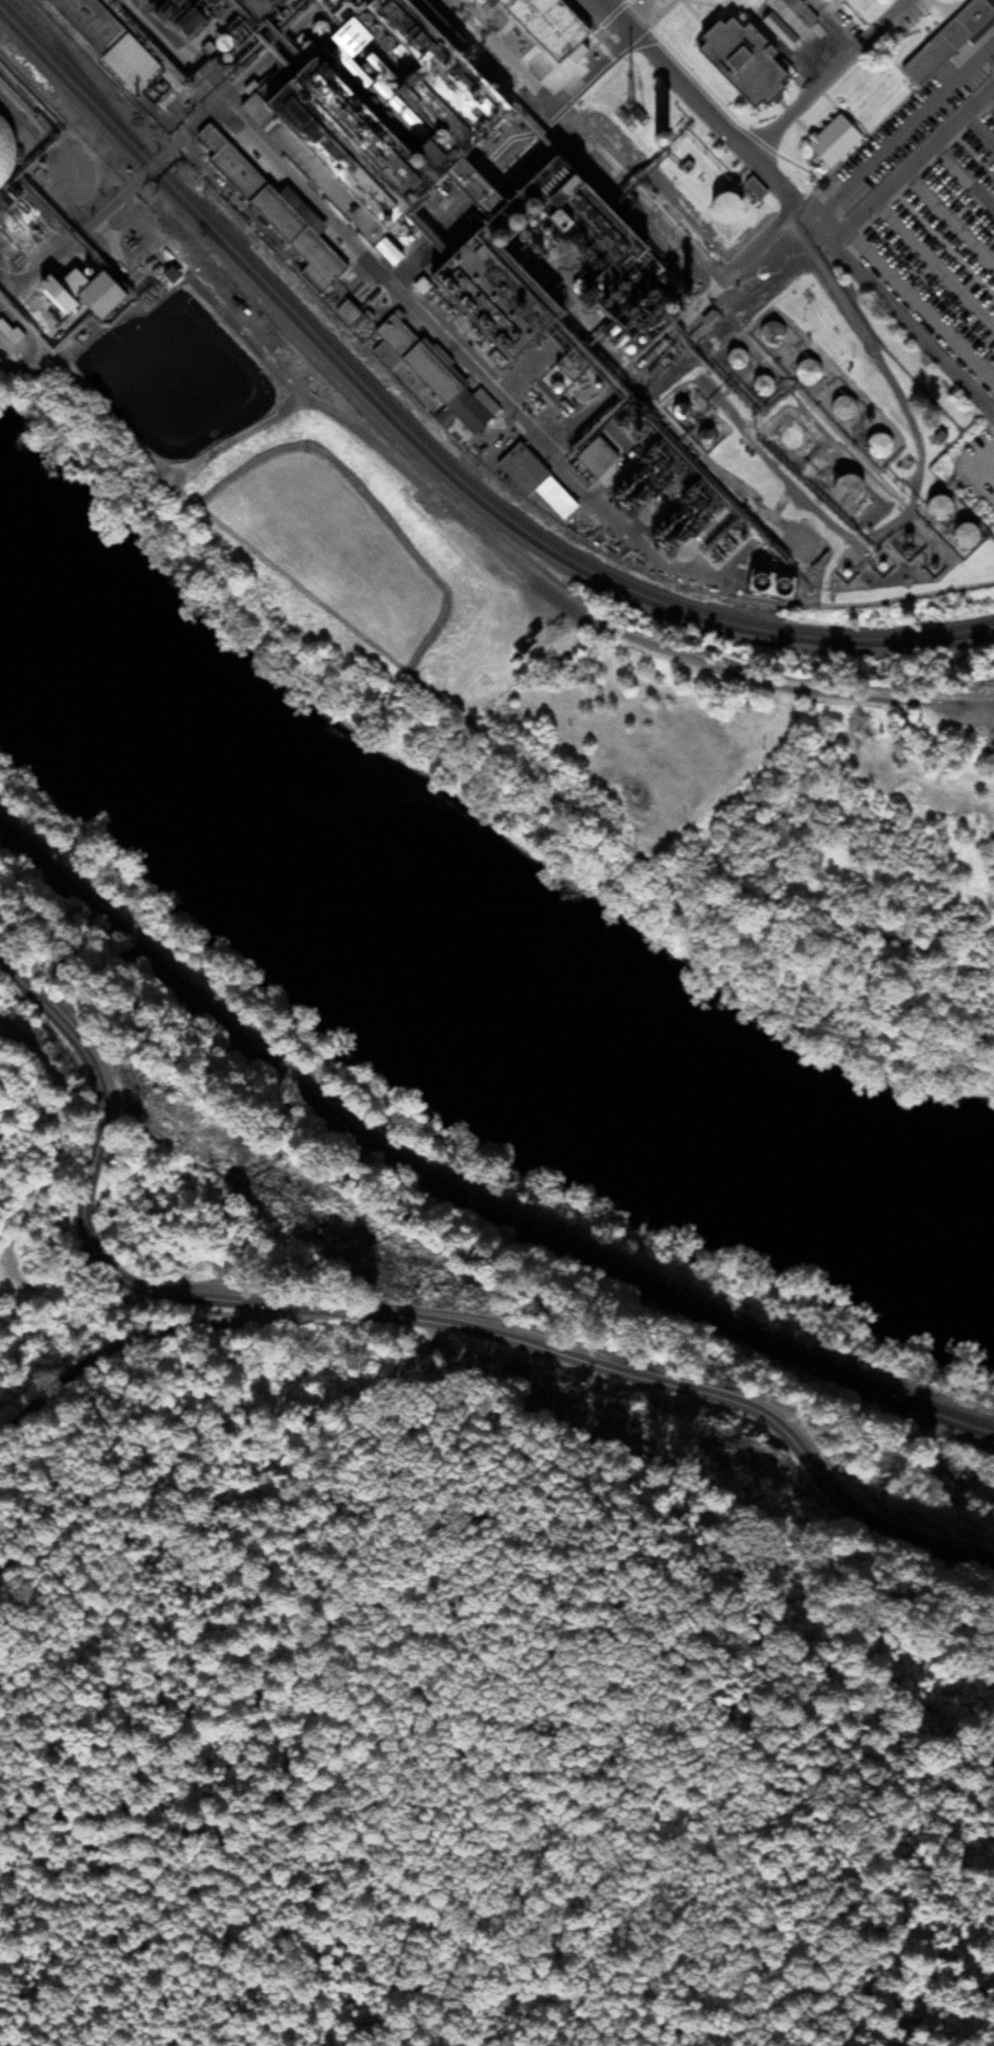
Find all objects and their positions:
building: (828, 0)
building: (789, 16)
building: (538, 24)
railway: (163, 36)
building: (947, 40)
building: (103, 41)
building: (737, 63)
building: (369, 110)
building: (830, 141)
building: (273, 215)
road: (19, 265)
building: (89, 295)
road: (897, 320)
building: (765, 332)
building: (731, 360)
road: (53, 371)
building: (427, 379)
building: (755, 384)
road: (564, 393)
building: (782, 438)
building: (873, 446)
railway: (434, 447)
building: (529, 479)
building: (839, 491)
building: (929, 509)
building: (956, 537)
building: (899, 545)
road: (751, 682)
building: (991, 736)
river: (460, 970)
railway: (456, 1190)
road: (30, 1207)
road: (18, 1301)
road: (404, 1318)
road: (132, 1338)

